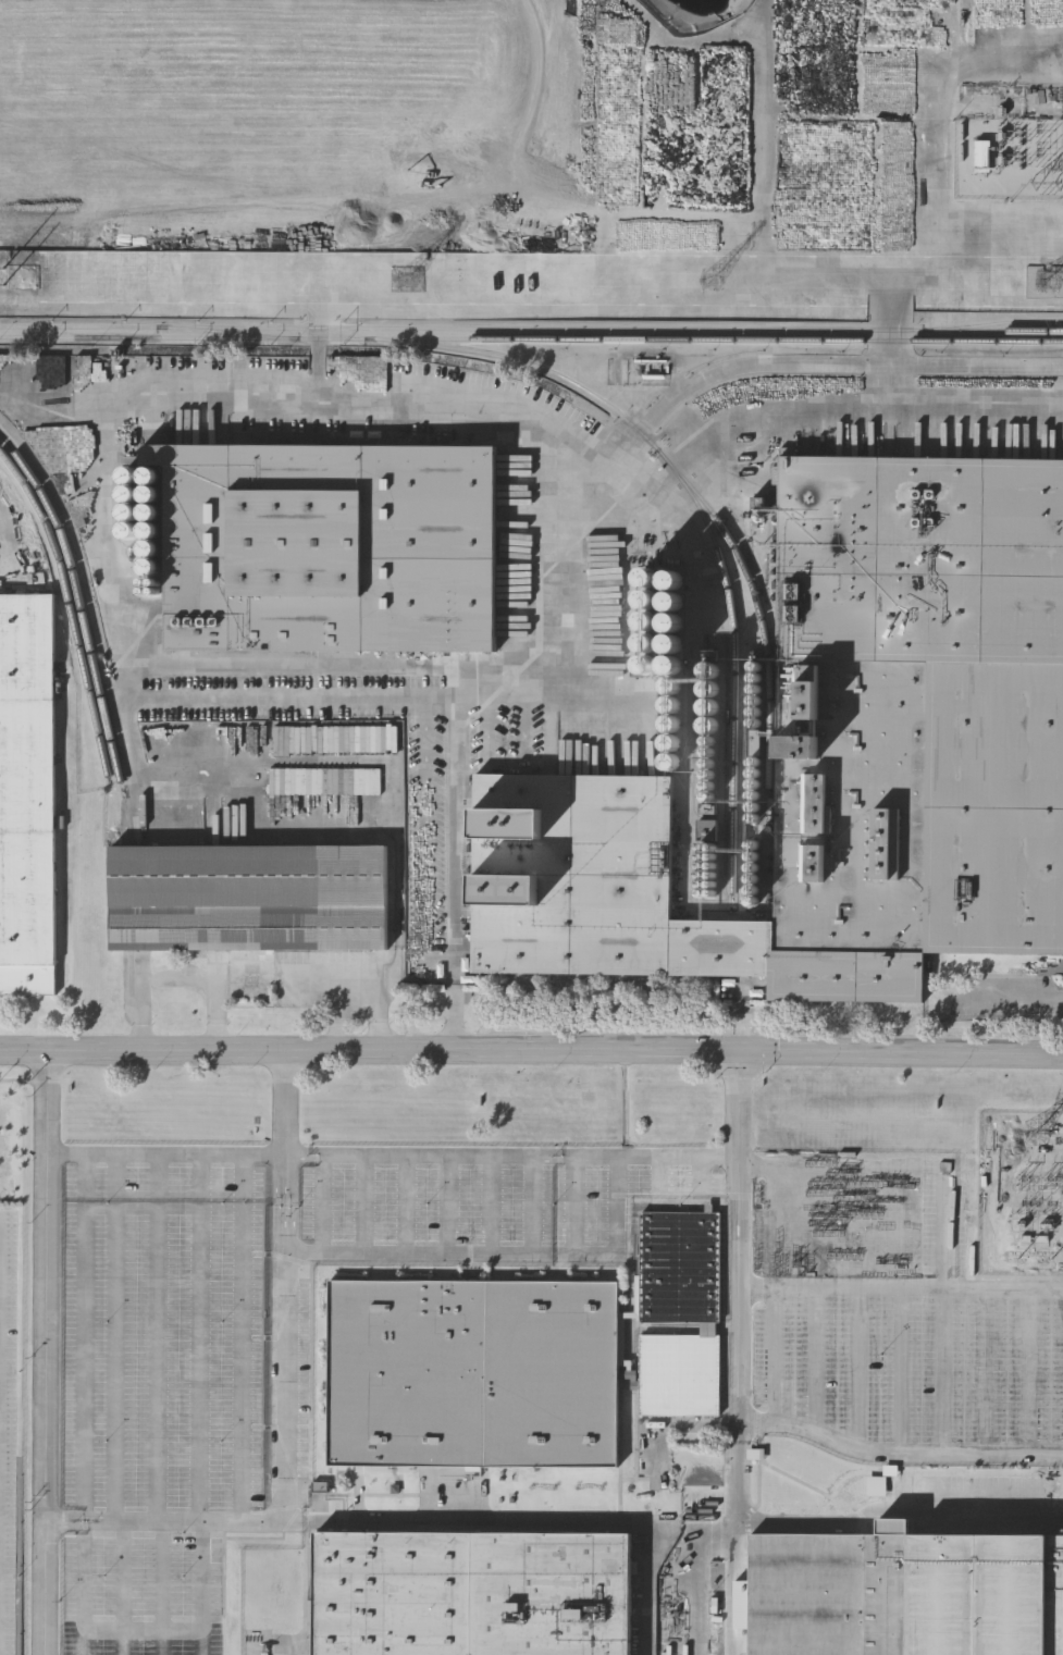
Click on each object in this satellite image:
building: (987, 156)
power tower: (27, 280)
power tower: (412, 282)
power tower: (1051, 283)
power tower: (715, 284)
railway: (996, 322)
railway: (531, 326)
railway: (222, 332)
railway: (976, 336)
railway: (718, 339)
railway: (579, 387)
road: (569, 533)
building: (332, 547)
railway: (81, 600)
railway: (71, 606)
railway: (737, 674)
building: (840, 756)
building: (25, 792)
building: (716, 861)
building: (249, 898)
road: (362, 966)
road: (178, 979)
road: (1034, 997)
road: (579, 1048)
traffic signals: (743, 1048)
road: (47, 1049)
road: (291, 1104)
road: (171, 1157)
road: (516, 1160)
power substation: (1029, 1186)
road: (323, 1206)
road: (364, 1207)
road: (406, 1207)
road: (448, 1207)
road: (490, 1207)
road: (459, 1253)
road: (555, 1253)
road: (598, 1253)
road: (902, 1290)
building: (679, 1313)
road: (742, 1351)
road: (52, 1353)
road: (776, 1356)
road: (87, 1361)
road: (816, 1361)
road: (114, 1366)
road: (157, 1366)
road: (202, 1367)
road: (243, 1367)
road: (858, 1369)
road: (902, 1372)
road: (943, 1372)
road: (986, 1372)
road: (1031, 1372)
building: (474, 1373)
road: (291, 1436)
road: (899, 1453)
building: (879, 1487)
road: (77, 1515)
road: (568, 1520)
road: (902, 1522)
road: (77, 1528)
road: (685, 1577)
road: (123, 1588)
road: (201, 1589)
road: (83, 1591)
building: (906, 1592)
building: (472, 1593)

